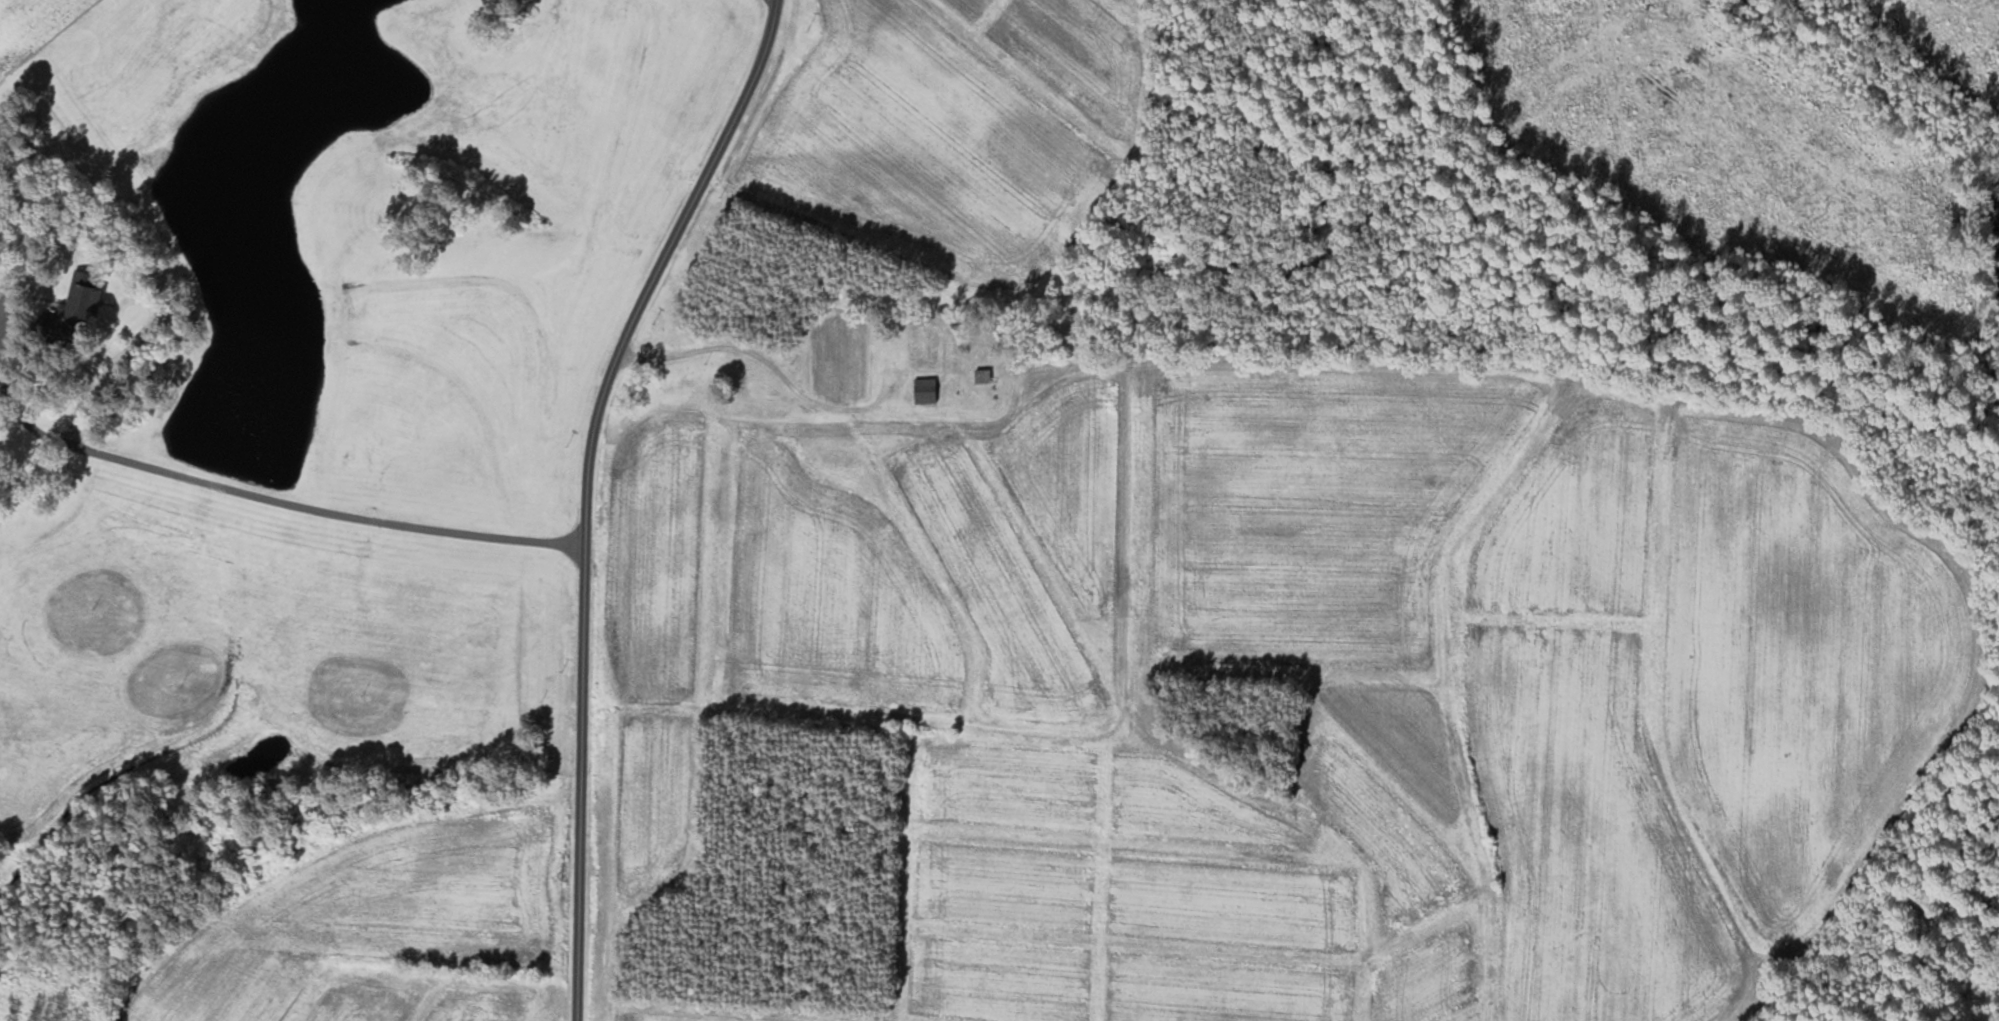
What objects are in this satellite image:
building: (69, 311)
building: (915, 349)
road: (762, 358)
building: (979, 377)
building: (922, 392)
building: (747, 395)
road: (588, 490)
road: (270, 500)

